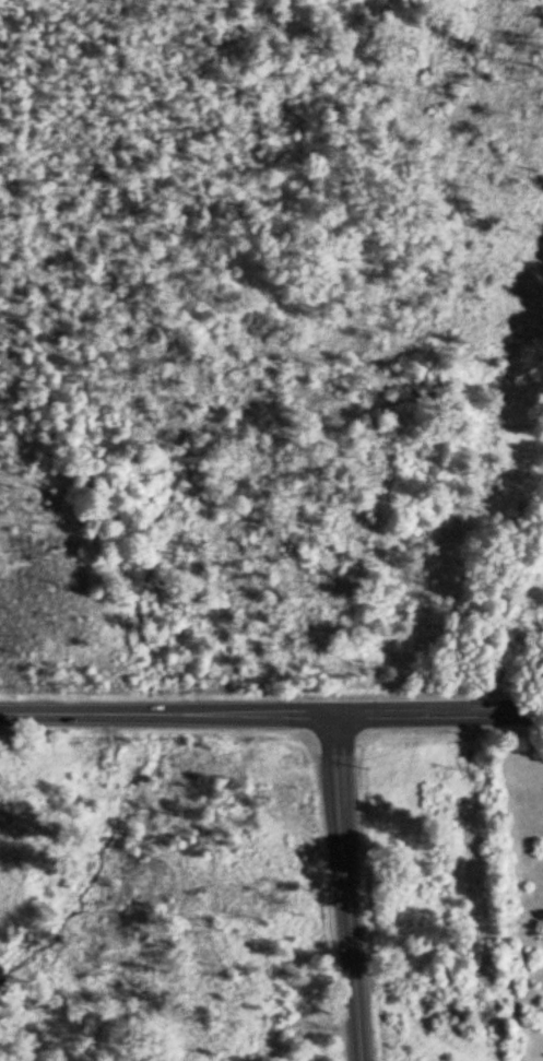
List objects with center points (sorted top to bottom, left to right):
road: (271, 712)
road: (350, 887)

